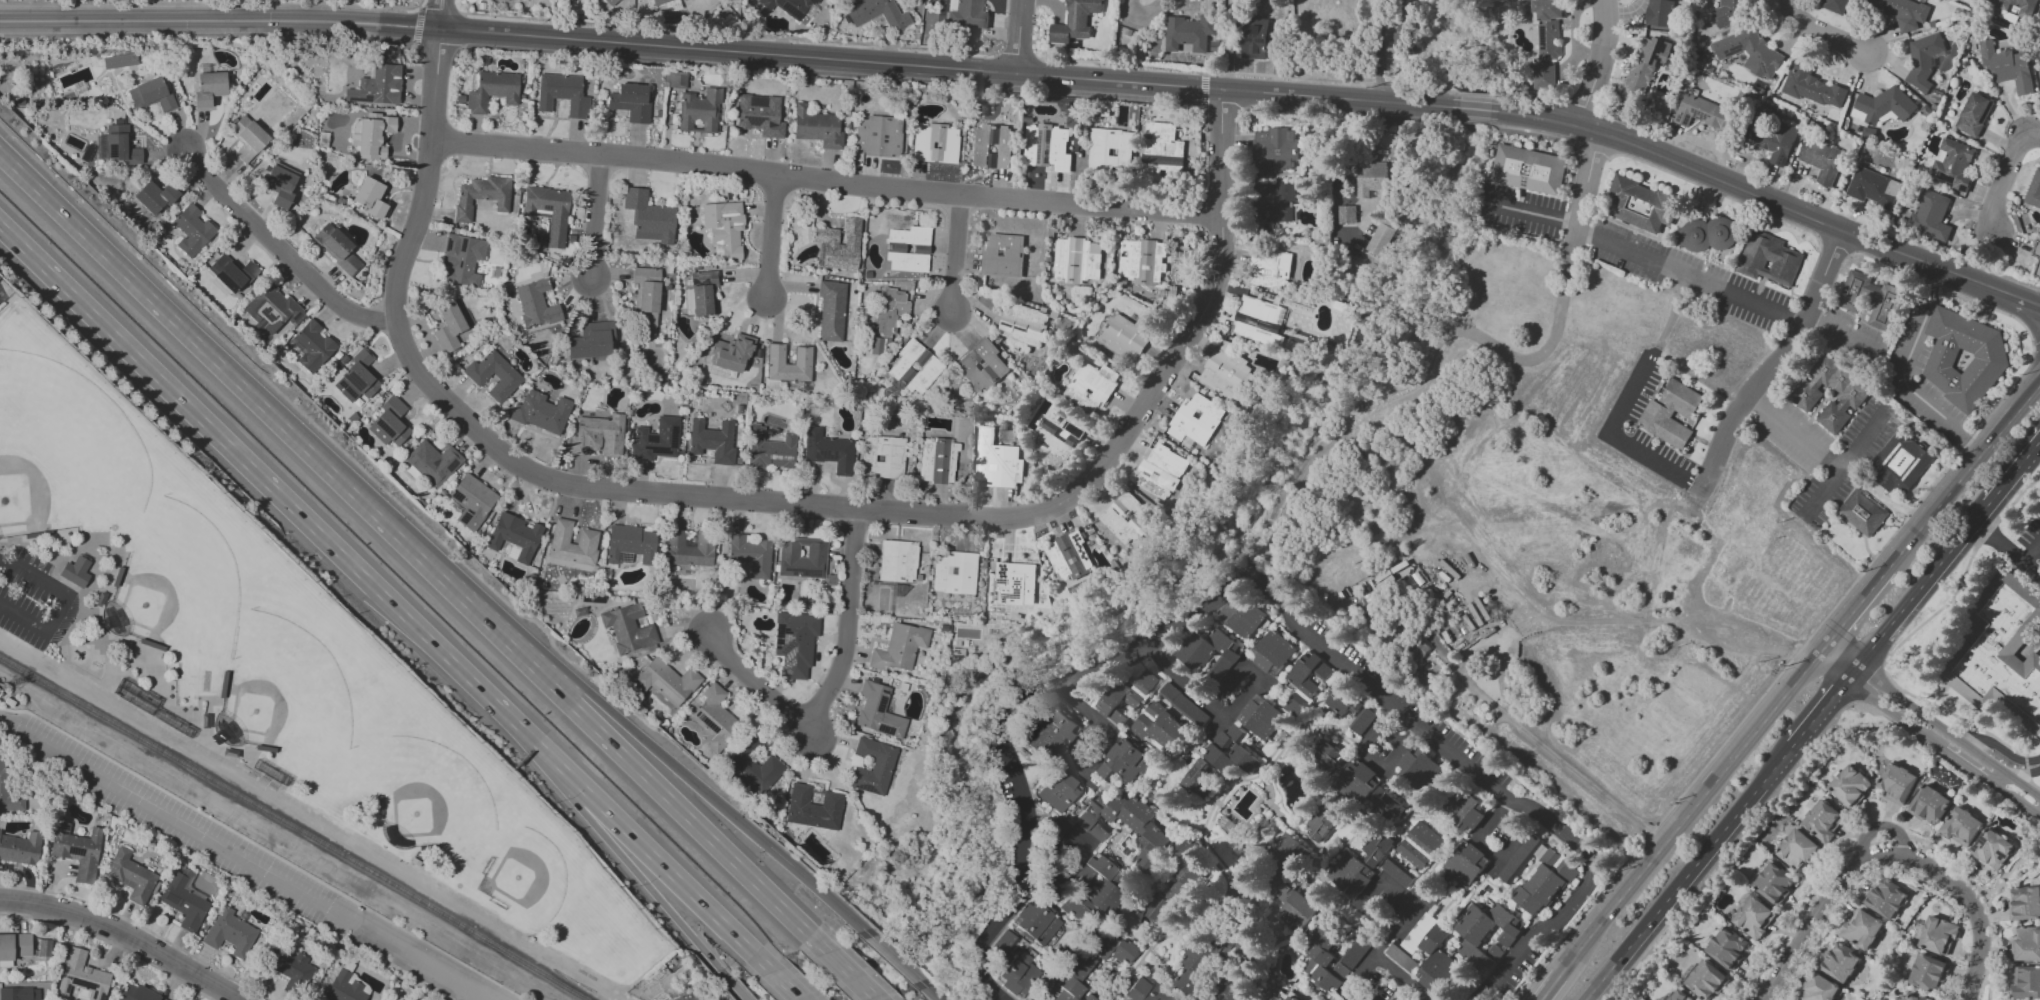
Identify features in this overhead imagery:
building: (610, 2)
building: (615, 2)
building: (660, 2)
building: (1832, 5)
road: (210, 6)
building: (793, 6)
building: (2015, 8)
road: (439, 9)
building: (1904, 11)
road: (439, 13)
building: (968, 13)
building: (1659, 13)
building: (1729, 13)
building: (876, 17)
building: (1076, 21)
road: (416, 26)
rooftop solar panel: (1171, 26)
building: (1547, 28)
road: (1824, 30)
road: (727, 33)
building: (1190, 34)
rooftop solar panel: (1542, 34)
road: (1017, 36)
building: (1255, 39)
building: (1405, 39)
road: (729, 49)
rooftop solar panel: (1545, 49)
rooftop solar panel: (1657, 50)
road: (1382, 51)
building: (1750, 52)
rooftop solar panel: (1735, 54)
road: (1016, 56)
rooftop solar panel: (1549, 57)
building: (1923, 59)
building: (118, 61)
road: (1599, 64)
building: (2007, 66)
rooftop solar panel: (1763, 67)
building: (1642, 69)
road: (1210, 70)
building: (1543, 75)
building: (675, 80)
road: (1421, 85)
building: (376, 86)
building: (1811, 86)
building: (208, 89)
building: (491, 91)
road: (1202, 92)
building: (561, 94)
road: (1474, 94)
building: (151, 95)
rooftop solar panel: (361, 100)
building: (629, 102)
building: (1882, 106)
road: (1473, 108)
building: (698, 110)
rooftop solar panel: (1701, 111)
building: (1702, 111)
building: (1974, 114)
building: (758, 115)
rooftop solar panel: (1680, 118)
rooftop solar panel: (1687, 118)
road: (1472, 121)
building: (815, 127)
road: (1533, 130)
building: (371, 135)
building: (877, 136)
building: (248, 139)
rooftop solar panel: (1102, 139)
rooftop solar panel: (1754, 139)
building: (1774, 140)
building: (934, 143)
building: (120, 145)
building: (991, 146)
building: (1047, 147)
road: (1594, 148)
building: (1110, 149)
building: (1275, 149)
rooftop solar panel: (1100, 150)
rooftop solar panel: (111, 151)
building: (1162, 151)
building: (1821, 159)
rooftop solar panel: (1782, 160)
building: (1952, 164)
building: (1530, 170)
road: (2004, 176)
building: (1371, 177)
road: (826, 179)
building: (280, 184)
building: (1873, 187)
building: (2034, 190)
road: (1753, 193)
building: (481, 195)
building: (369, 197)
building: (154, 198)
building: (1277, 202)
building: (1639, 203)
building: (547, 212)
building: (1347, 214)
road: (1533, 214)
building: (1930, 215)
road: (602, 216)
building: (649, 217)
building: (723, 227)
building: (191, 230)
building: (1709, 234)
road: (776, 236)
building: (1380, 239)
building: (839, 244)
road: (282, 246)
building: (336, 248)
building: (907, 249)
road: (963, 254)
building: (1003, 255)
building: (461, 259)
building: (1077, 259)
building: (1771, 259)
building: (1142, 260)
building: (2038, 266)
building: (1270, 268)
building: (232, 273)
road: (1690, 273)
road: (1564, 292)
building: (702, 293)
building: (1886, 298)
road: (2026, 299)
building: (645, 300)
building: (535, 304)
building: (271, 309)
building: (889, 310)
building: (830, 311)
road: (2028, 317)
building: (1259, 320)
rooftop solar panel: (1006, 323)
building: (1023, 323)
building: (448, 326)
rooftop solar panel: (1017, 328)
building: (1125, 335)
building: (591, 341)
road: (2036, 345)
building: (874, 346)
building: (732, 352)
building: (801, 355)
building: (1963, 357)
road: (1775, 360)
road: (220, 365)
building: (981, 365)
building: (914, 367)
building: (1226, 371)
road: (1902, 372)
building: (507, 376)
building: (356, 378)
rooftop solar panel: (352, 379)
building: (1091, 386)
rooftop solar panel: (346, 390)
building: (1804, 394)
road: (1626, 399)
road: (1753, 400)
building: (1672, 411)
building: (541, 412)
rooftop solar panel: (1197, 416)
building: (1195, 420)
building: (389, 423)
rooftop solar panel: (385, 428)
building: (1058, 433)
building: (598, 435)
road: (1802, 437)
building: (655, 440)
building: (712, 440)
park: (63, 449)
building: (769, 449)
building: (828, 451)
building: (881, 456)
building: (997, 460)
road: (1847, 461)
building: (433, 463)
building: (1901, 463)
rooftop solar panel: (417, 465)
rooftop solar panel: (450, 465)
rooftop solar panel: (993, 466)
road: (2013, 470)
building: (1161, 471)
road: (1962, 474)
rooftop solar panel: (1155, 477)
park: (139, 484)
road: (266, 484)
rooftop solar panel: (1155, 484)
rooftop solar panel: (457, 497)
building: (471, 501)
road: (773, 502)
road: (1913, 507)
building: (1864, 512)
rooftop solar panel: (465, 517)
building: (1125, 518)
building: (514, 537)
building: (572, 545)
building: (629, 545)
road: (2006, 548)
building: (688, 549)
road: (2031, 552)
building: (750, 554)
building: (801, 557)
building: (1069, 558)
building: (897, 561)
road: (1965, 571)
building: (76, 572)
building: (954, 573)
park: (177, 582)
building: (1014, 583)
road: (1918, 588)
road: (1276, 593)
parking lot: (31, 598)
road: (62, 604)
park: (257, 604)
road: (1851, 610)
building: (1240, 616)
road: (1653, 621)
building: (627, 628)
road: (494, 631)
rooftop solar panel: (777, 633)
rooftop solar panel: (785, 641)
road: (1853, 641)
building: (794, 642)
building: (898, 647)
rooftop solar panel: (785, 649)
building: (1418, 650)
building: (1272, 651)
building: (2000, 653)
building: (1209, 654)
rooftop solar panel: (786, 656)
rooftop solar panel: (786, 666)
park: (279, 675)
road: (834, 677)
building: (1298, 680)
building: (666, 681)
road: (1869, 682)
park: (283, 691)
rooftop solar panel: (883, 693)
road: (1193, 694)
building: (1124, 697)
building: (1343, 701)
building: (1182, 704)
rooftop solar panel: (880, 705)
road: (1821, 709)
building: (877, 711)
road: (1949, 712)
building: (1259, 716)
building: (714, 719)
building: (1361, 720)
building: (1158, 726)
rooftop solar panel: (883, 729)
road: (1929, 730)
building: (1054, 734)
park: (391, 742)
road: (1994, 744)
building: (1229, 751)
road: (1095, 753)
road: (662, 756)
building: (1327, 757)
road: (1372, 759)
road: (1558, 759)
road: (552, 760)
building: (1124, 761)
road: (1798, 761)
building: (754, 764)
building: (872, 766)
road: (1726, 766)
road: (2026, 767)
building: (1417, 771)
building: (3, 774)
road: (2018, 774)
building: (1198, 777)
building: (1896, 782)
building: (1849, 785)
rooftop solar panel: (865, 790)
building: (1059, 791)
building: (1369, 791)
park: (430, 794)
building: (1929, 804)
building: (813, 808)
building: (1464, 810)
road: (688, 818)
building: (1822, 820)
building: (1321, 823)
building: (1125, 825)
building: (1961, 826)
road: (1879, 827)
railway: (291, 829)
road: (1650, 831)
building: (1054, 833)
rooftop solar panel: (1980, 841)
building: (1419, 845)
traffic signals: (768, 846)
building: (1376, 847)
building: (20, 848)
road: (262, 848)
building: (1991, 848)
building: (1797, 849)
building: (77, 851)
road: (1887, 855)
rooftop solar panel: (2001, 855)
parking lot: (250, 861)
park: (527, 862)
building: (1465, 863)
building: (1397, 871)
road: (1688, 872)
building: (1349, 874)
road: (672, 875)
building: (130, 876)
building: (1289, 881)
road: (1385, 882)
building: (1773, 882)
road: (645, 883)
building: (1051, 888)
building: (1096, 888)
building: (1169, 889)
road: (819, 891)
building: (1885, 897)
building: (183, 902)
building: (2024, 902)
building: (1754, 917)
building: (1037, 923)
road: (1599, 925)
building: (1861, 928)
building: (230, 934)
building: (1486, 934)
building: (1938, 935)
road: (123, 936)
building: (1003, 944)
building: (1231, 944)
building: (2026, 944)
building: (14, 946)
building: (1727, 947)
building: (42, 948)
building: (1355, 952)
building: (1432, 953)
building: (1323, 958)
road: (895, 959)
building: (1088, 962)
building: (1840, 962)
building: (290, 966)
building: (1193, 968)
road: (1364, 968)
building: (1017, 973)
building: (1928, 973)
road: (850, 974)
building: (81, 976)
road: (1401, 977)
building: (1705, 981)
building: (2026, 982)
road: (982, 984)
rooftop solar panel: (83, 985)
road: (786, 985)
road: (1553, 985)
building: (344, 987)
building: (1818, 988)
building: (1231, 989)
road: (738, 990)
road: (930, 990)
building: (136, 993)
road: (1405, 993)
building: (19, 994)
building: (1291, 996)
building: (1679, 996)
building: (1088, 997)
building: (1916, 997)
road: (874, 998)
building: (1409, 998)
building: (1340, 999)

